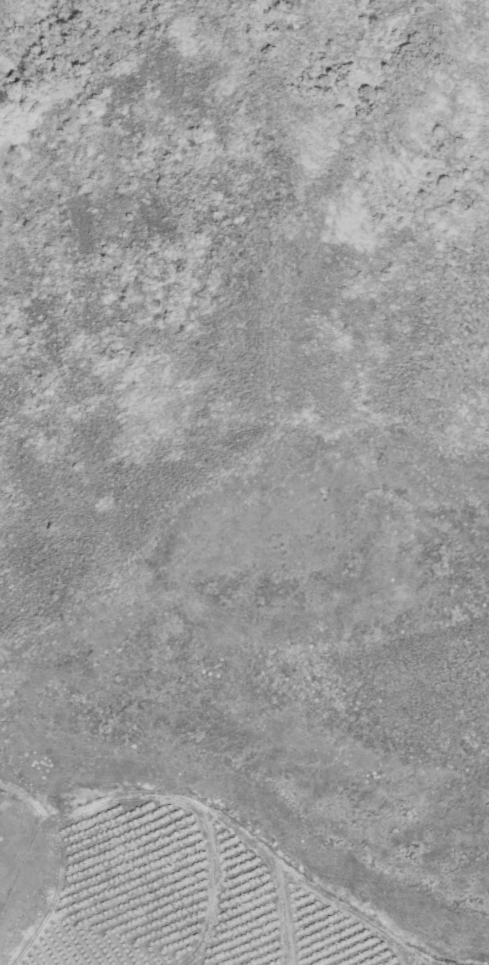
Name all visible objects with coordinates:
road: (249, 841)
road: (56, 870)
road: (211, 887)
road: (279, 915)
road: (400, 953)

